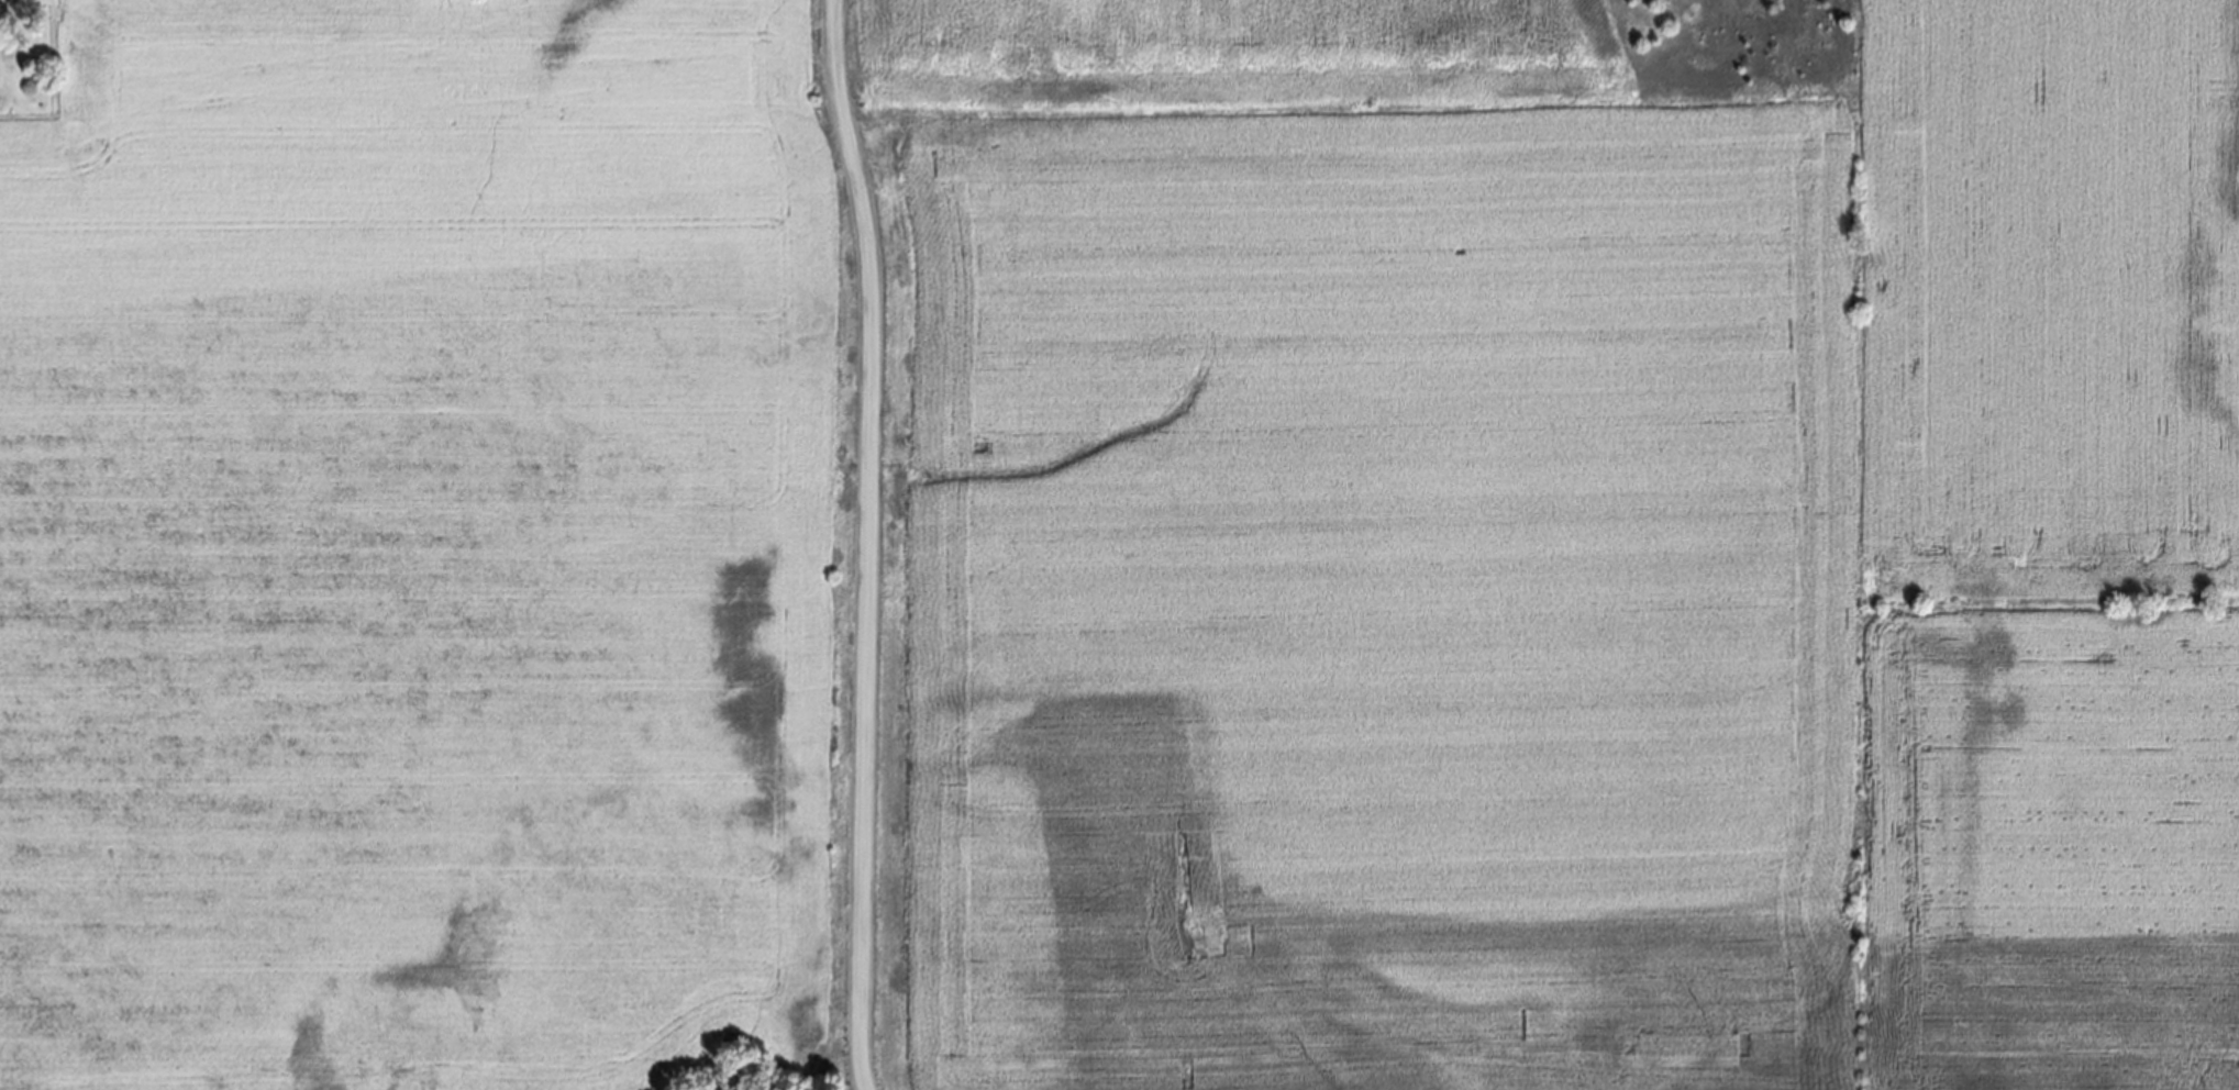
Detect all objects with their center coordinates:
road: (865, 543)

